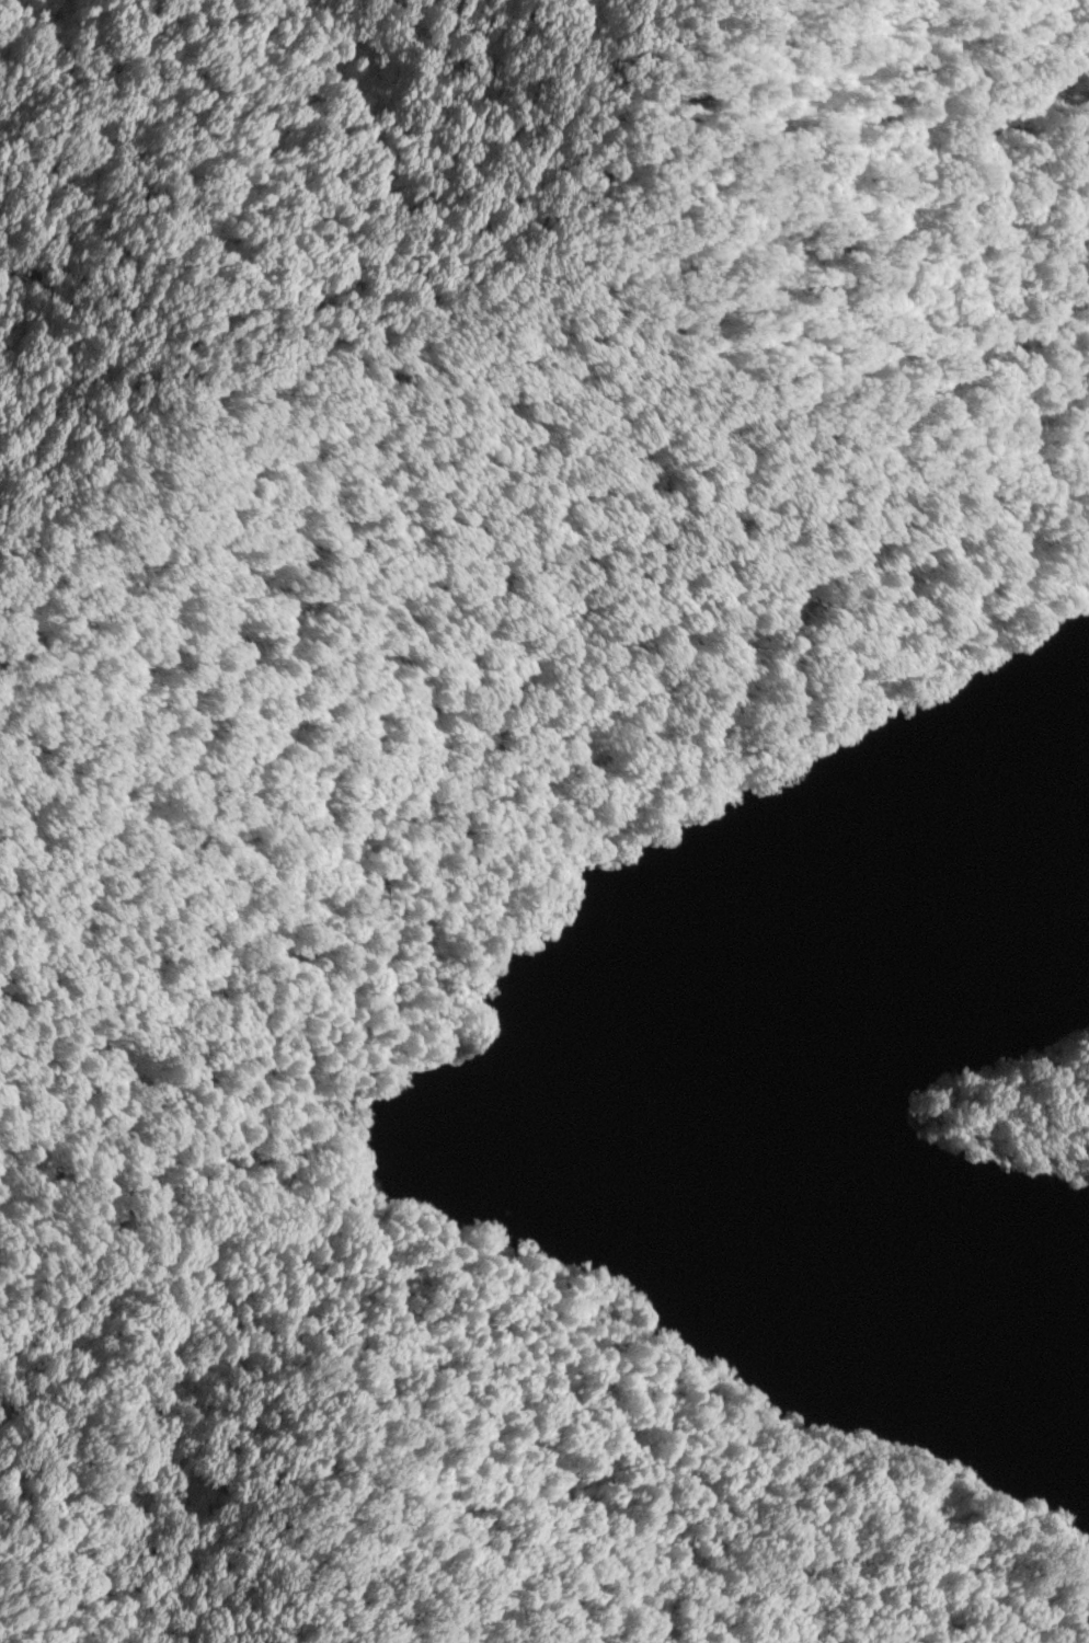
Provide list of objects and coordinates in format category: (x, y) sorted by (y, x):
river: (812, 1103)

